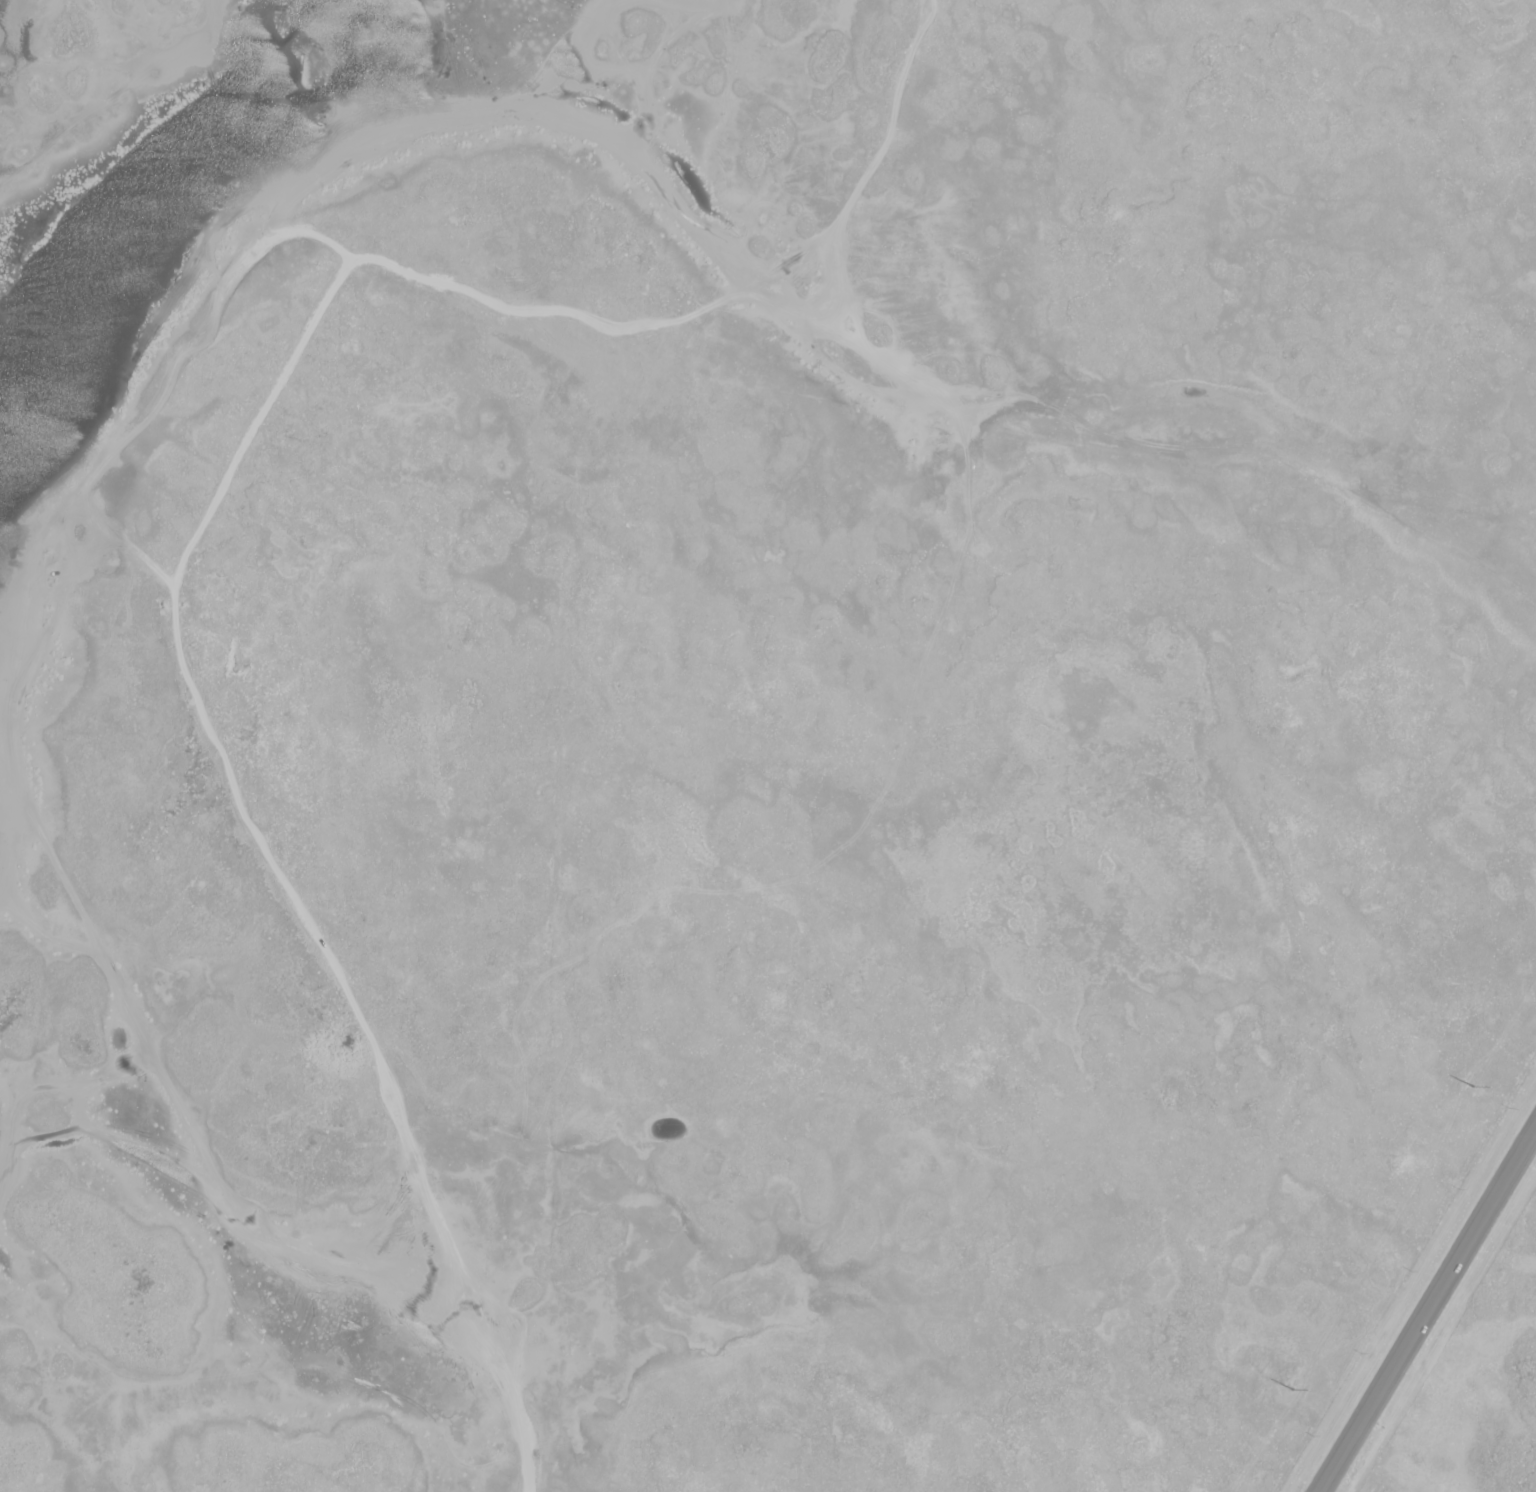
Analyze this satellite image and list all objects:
park: (758, 735)
power tower: (1475, 1089)
road: (1431, 1316)
power tower: (1293, 1391)
park: (1478, 1394)

